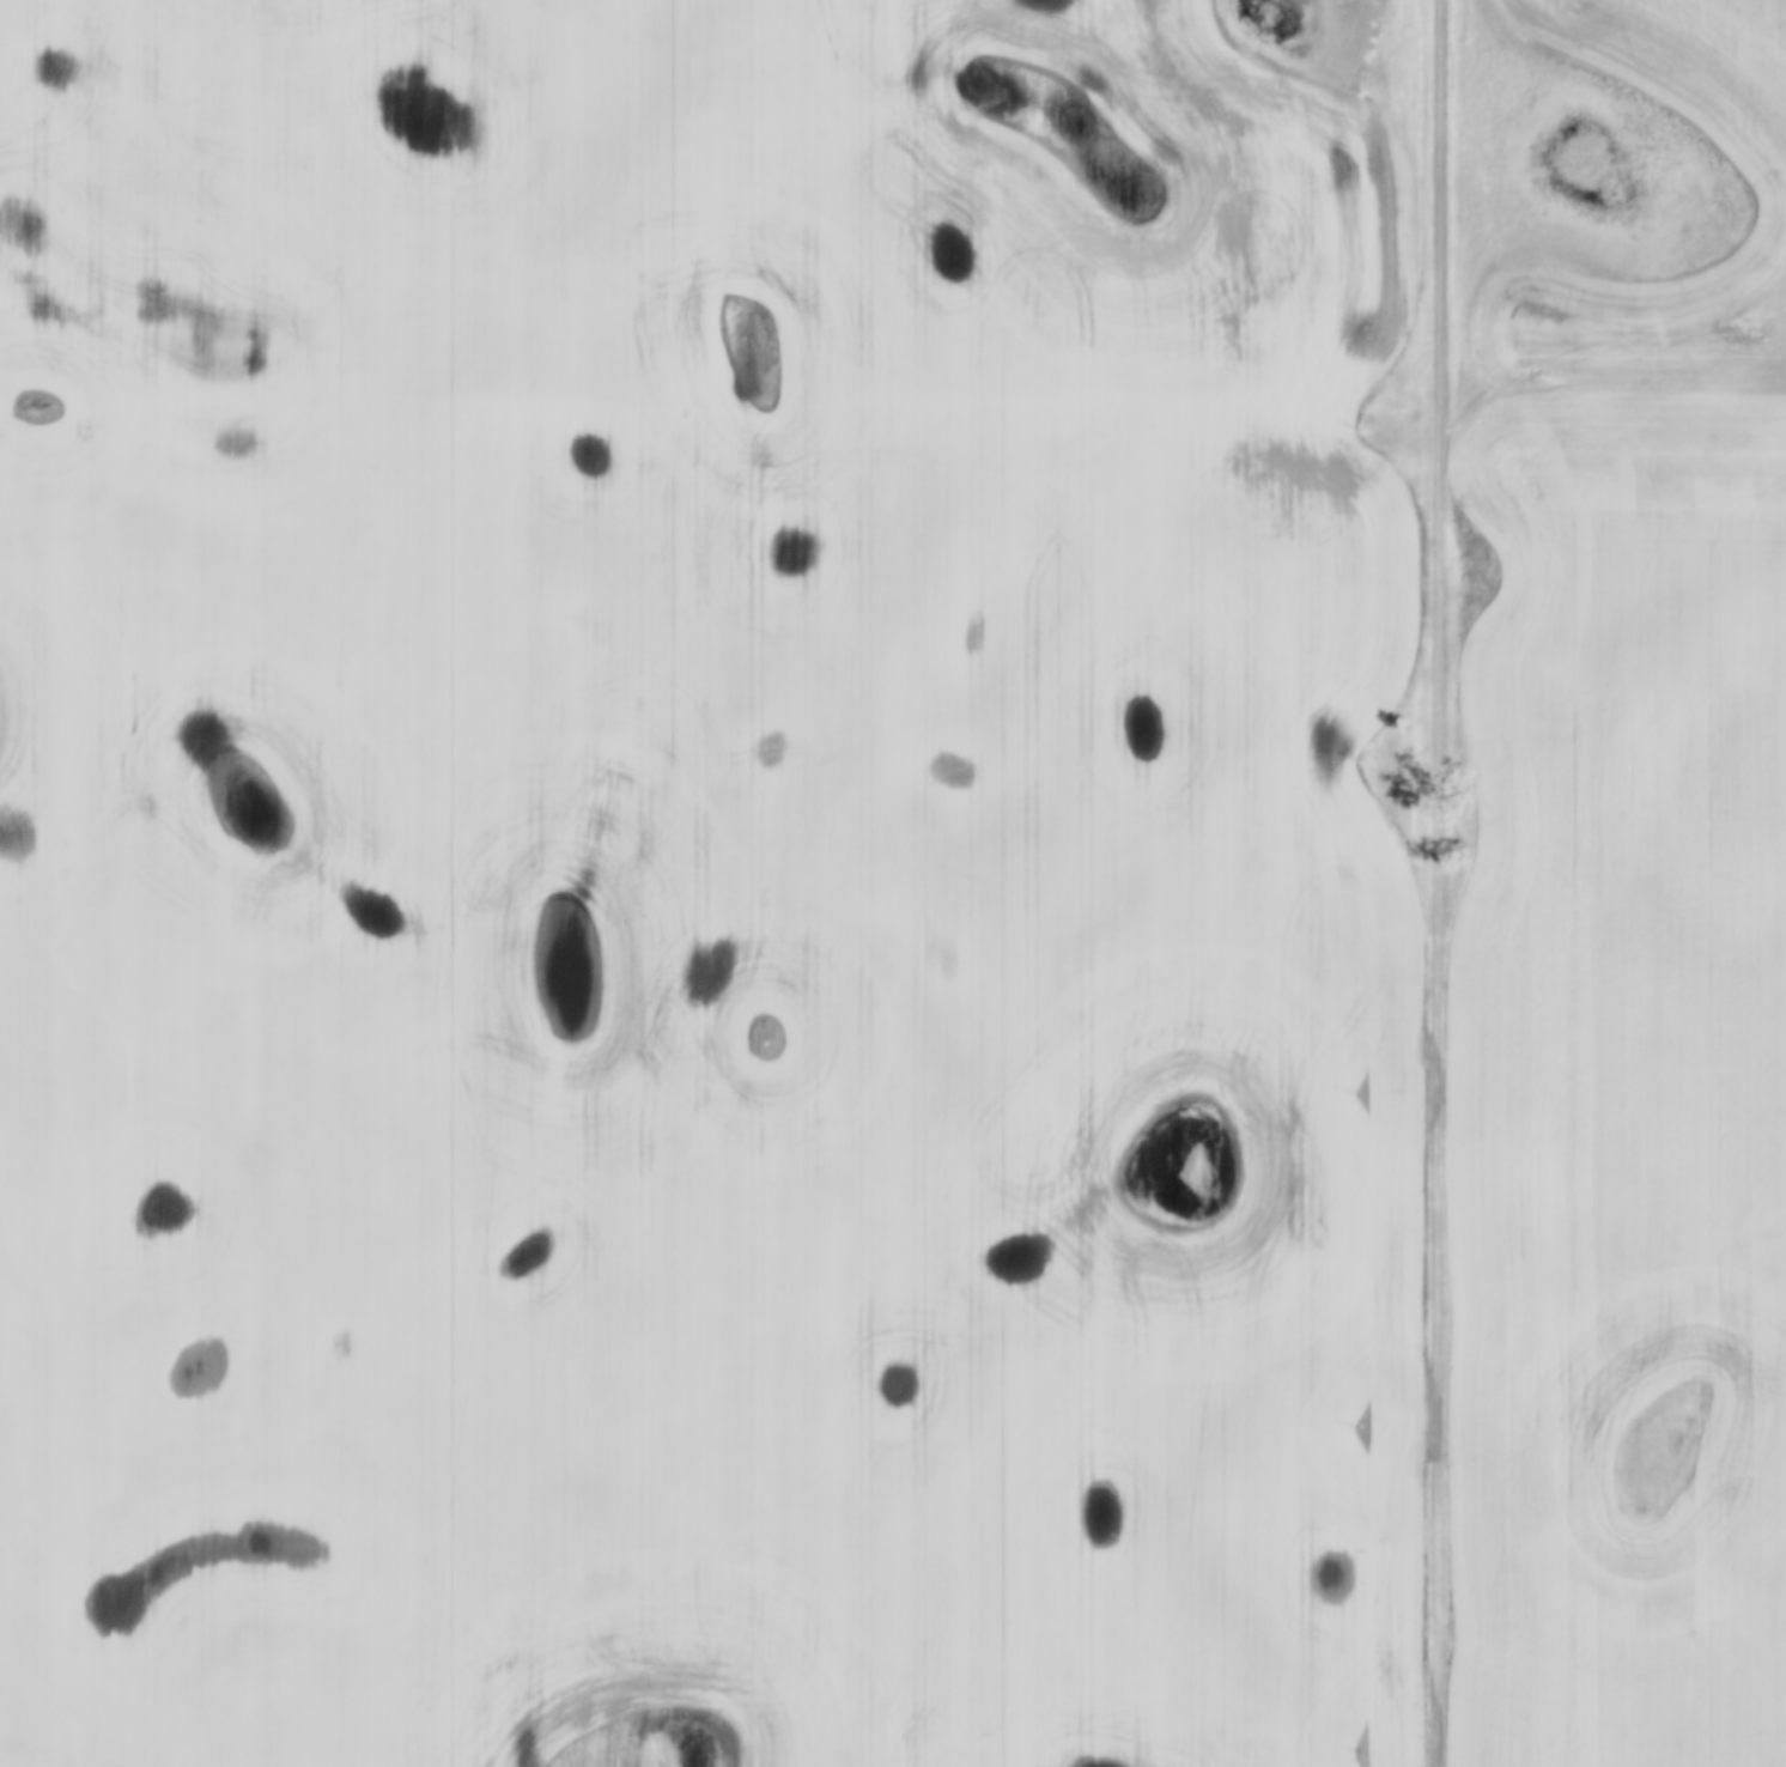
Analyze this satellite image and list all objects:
road: (1440, 882)

